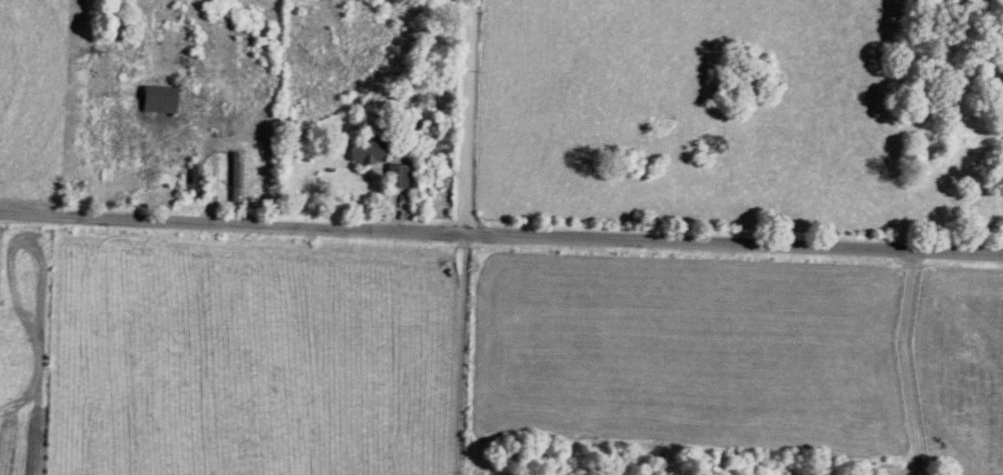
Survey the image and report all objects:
building: (157, 101)
road: (470, 115)
building: (366, 154)
building: (238, 178)
building: (395, 178)
road: (501, 233)
road: (462, 352)
road: (903, 364)

